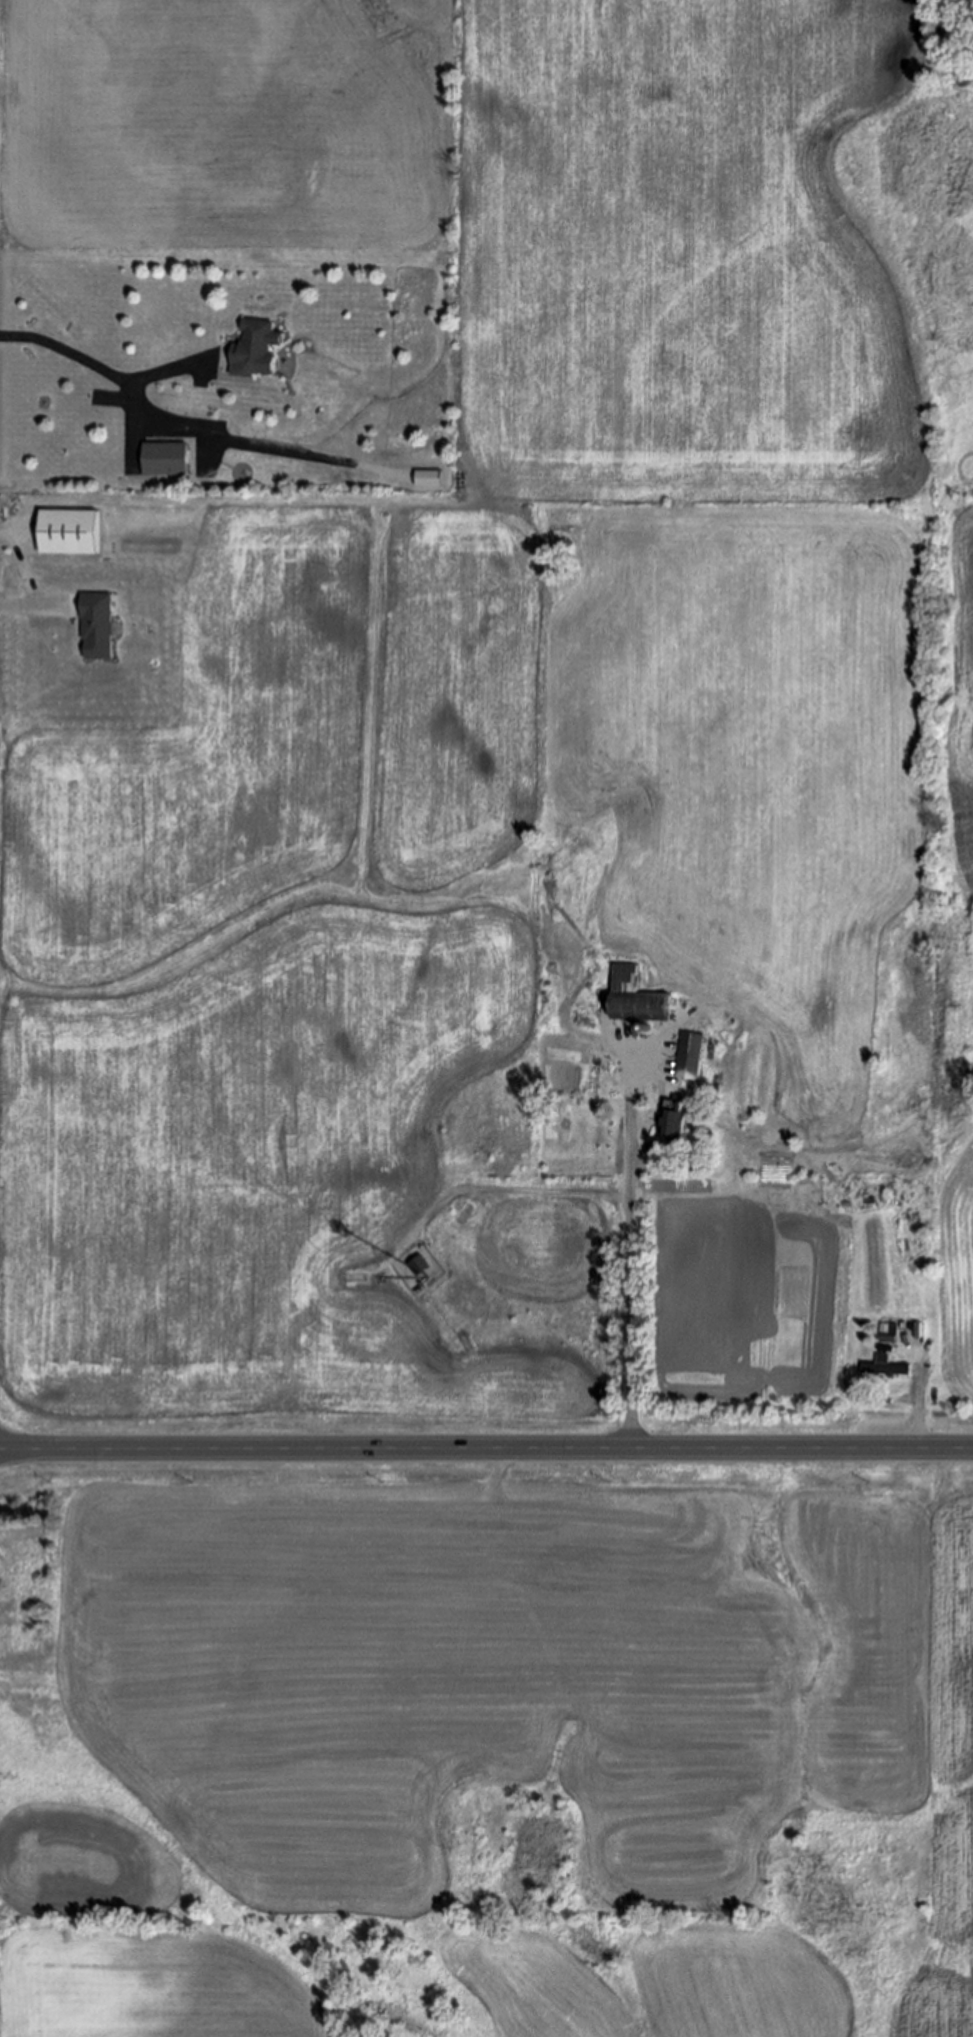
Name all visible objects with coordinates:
building: (255, 350)
road: (165, 372)
road: (162, 427)
building: (163, 460)
building: (427, 479)
building: (66, 533)
building: (97, 626)
crop: (460, 668)
building: (633, 998)
building: (688, 1056)
building: (672, 1123)
road: (509, 1189)
road: (630, 1238)
building: (417, 1267)
crop: (959, 1283)
crop: (752, 1314)
building: (888, 1339)
building: (884, 1370)
road: (919, 1404)
road: (486, 1450)
crop: (532, 1671)
crop: (122, 1943)
crop: (734, 1983)
crop: (532, 1986)

